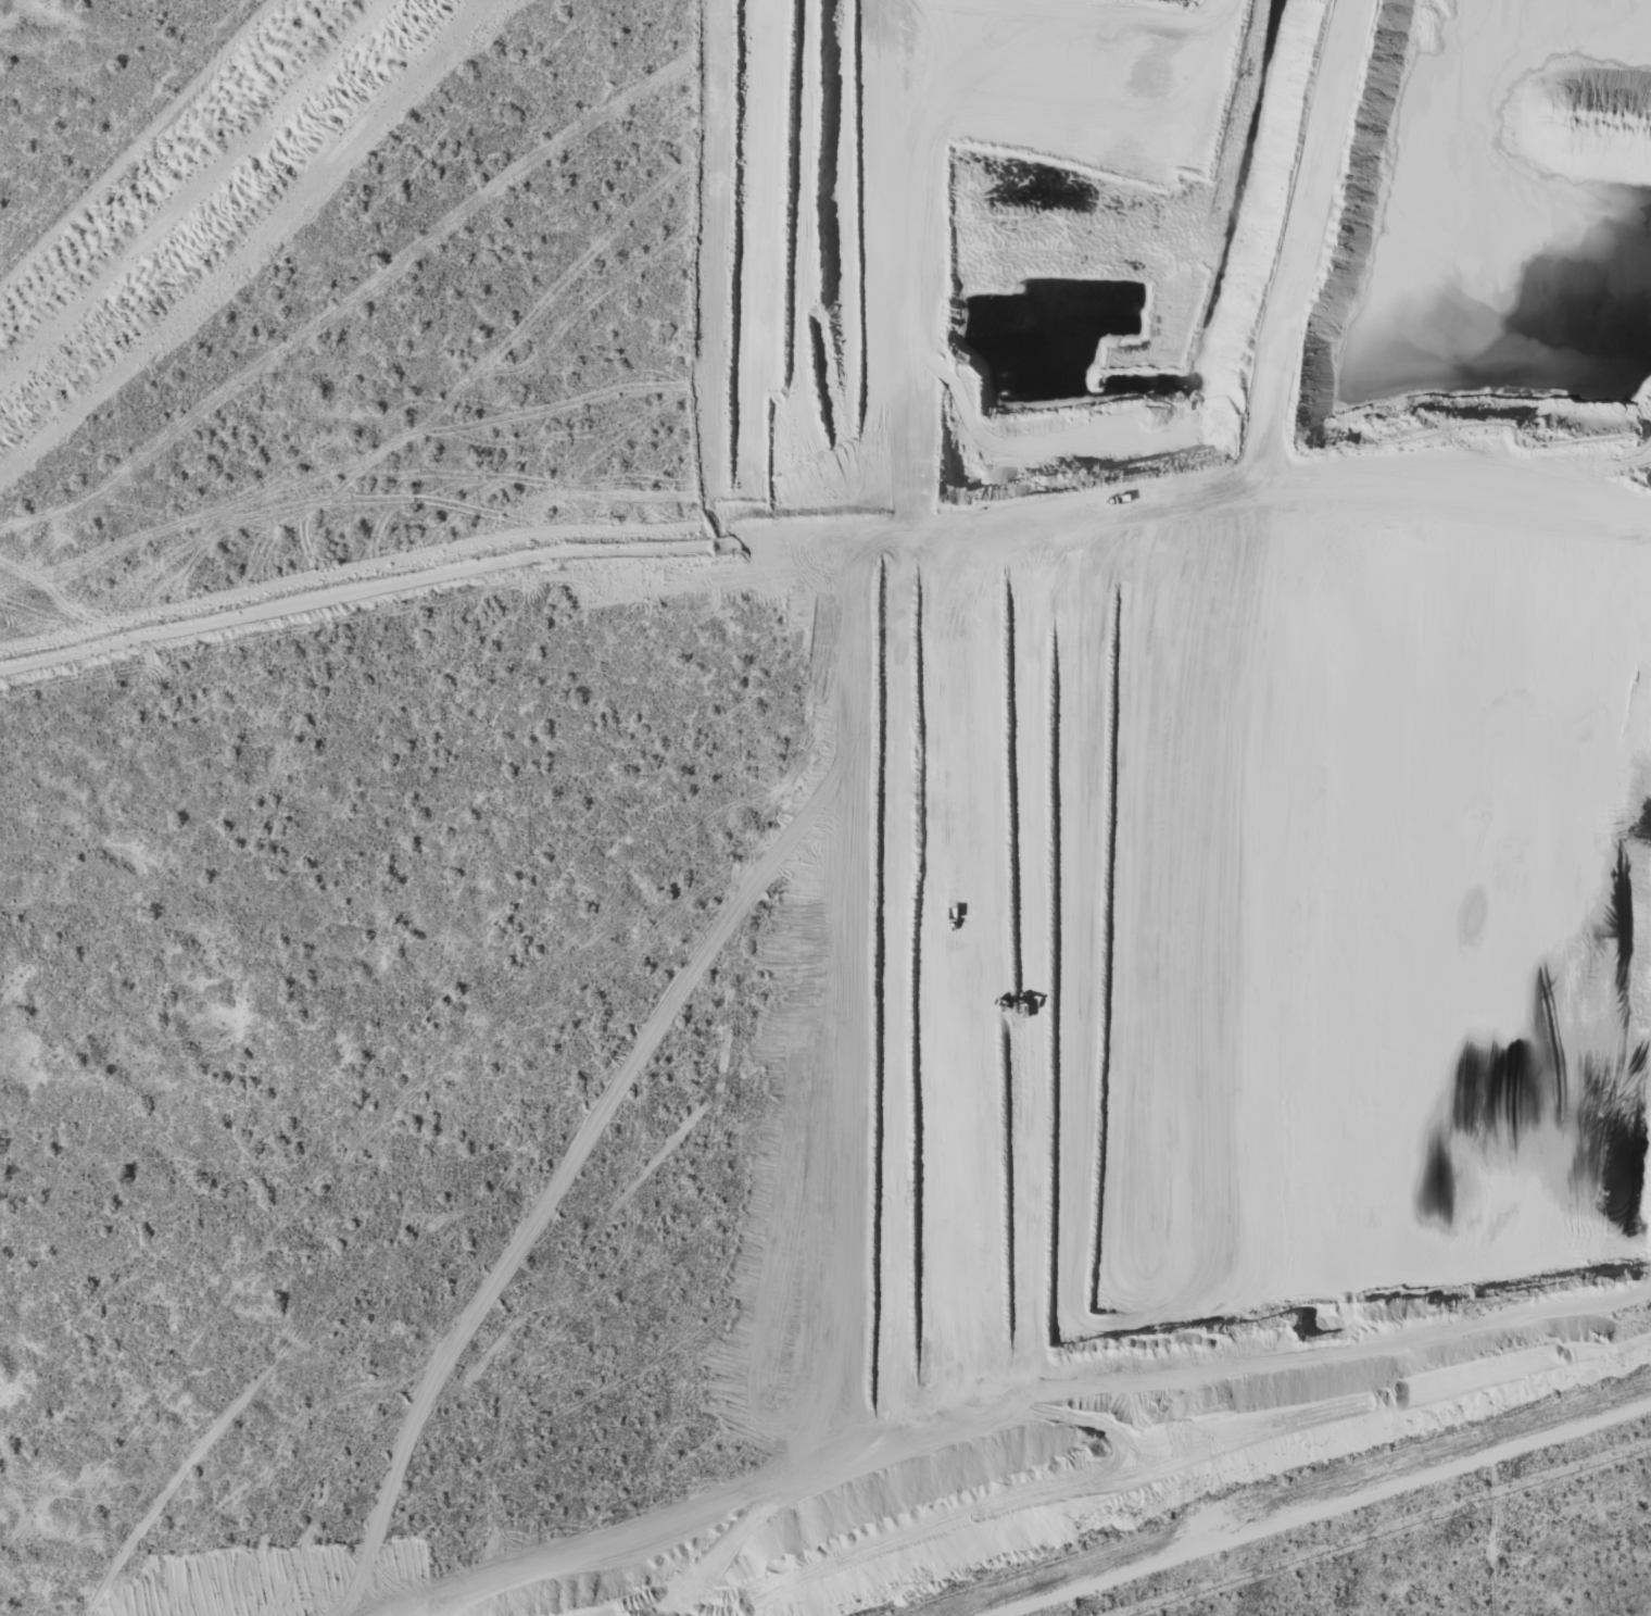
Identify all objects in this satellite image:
road: (1467, 791)
quarry: (820, 798)

